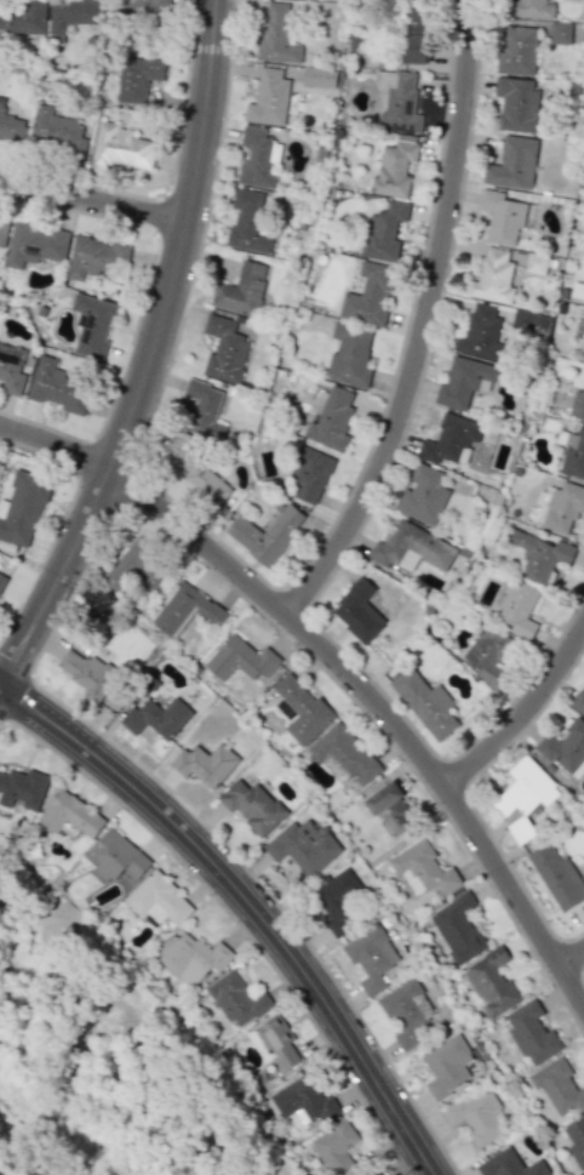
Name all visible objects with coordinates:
building: (533, 8)
building: (143, 11)
building: (75, 13)
building: (22, 16)
building: (560, 33)
building: (276, 34)
building: (414, 38)
building: (517, 50)
building: (137, 76)
building: (319, 78)
building: (269, 98)
building: (397, 102)
building: (517, 103)
building: (11, 129)
building: (56, 132)
building: (120, 148)
building: (257, 159)
building: (513, 164)
building: (394, 170)
road: (93, 201)
building: (502, 217)
building: (248, 222)
building: (383, 232)
building: (2, 233)
building: (34, 244)
building: (95, 257)
building: (536, 263)
building: (493, 276)
building: (241, 290)
building: (368, 295)
road: (425, 323)
building: (529, 323)
building: (92, 324)
building: (480, 331)
building: (227, 348)
road: (151, 354)
building: (349, 355)
building: (11, 369)
building: (464, 382)
building: (57, 386)
building: (577, 405)
building: (204, 409)
building: (331, 420)
building: (450, 439)
building: (573, 455)
building: (309, 473)
building: (422, 495)
building: (563, 507)
building: (22, 508)
building: (265, 534)
building: (411, 547)
building: (540, 555)
building: (144, 564)
building: (1, 578)
building: (517, 609)
building: (187, 610)
building: (357, 611)
building: (487, 651)
building: (240, 660)
road: (339, 664)
building: (86, 672)
building: (578, 701)
building: (425, 703)
building: (300, 709)
building: (158, 717)
road: (522, 717)
building: (566, 748)
building: (343, 754)
building: (206, 764)
building: (22, 788)
building: (526, 788)
building: (252, 805)
building: (390, 809)
building: (70, 815)
building: (304, 845)
building: (115, 856)
building: (423, 869)
building: (557, 875)
building: (158, 900)
road: (250, 901)
building: (338, 901)
building: (458, 928)
building: (193, 958)
building: (371, 958)
road: (572, 959)
building: (492, 982)
building: (237, 999)
building: (407, 1013)
building: (532, 1033)
building: (277, 1040)
building: (446, 1066)
building: (559, 1086)
building: (304, 1100)
building: (477, 1117)
building: (576, 1141)
building: (337, 1146)
building: (509, 1164)
building: (380, 1173)

